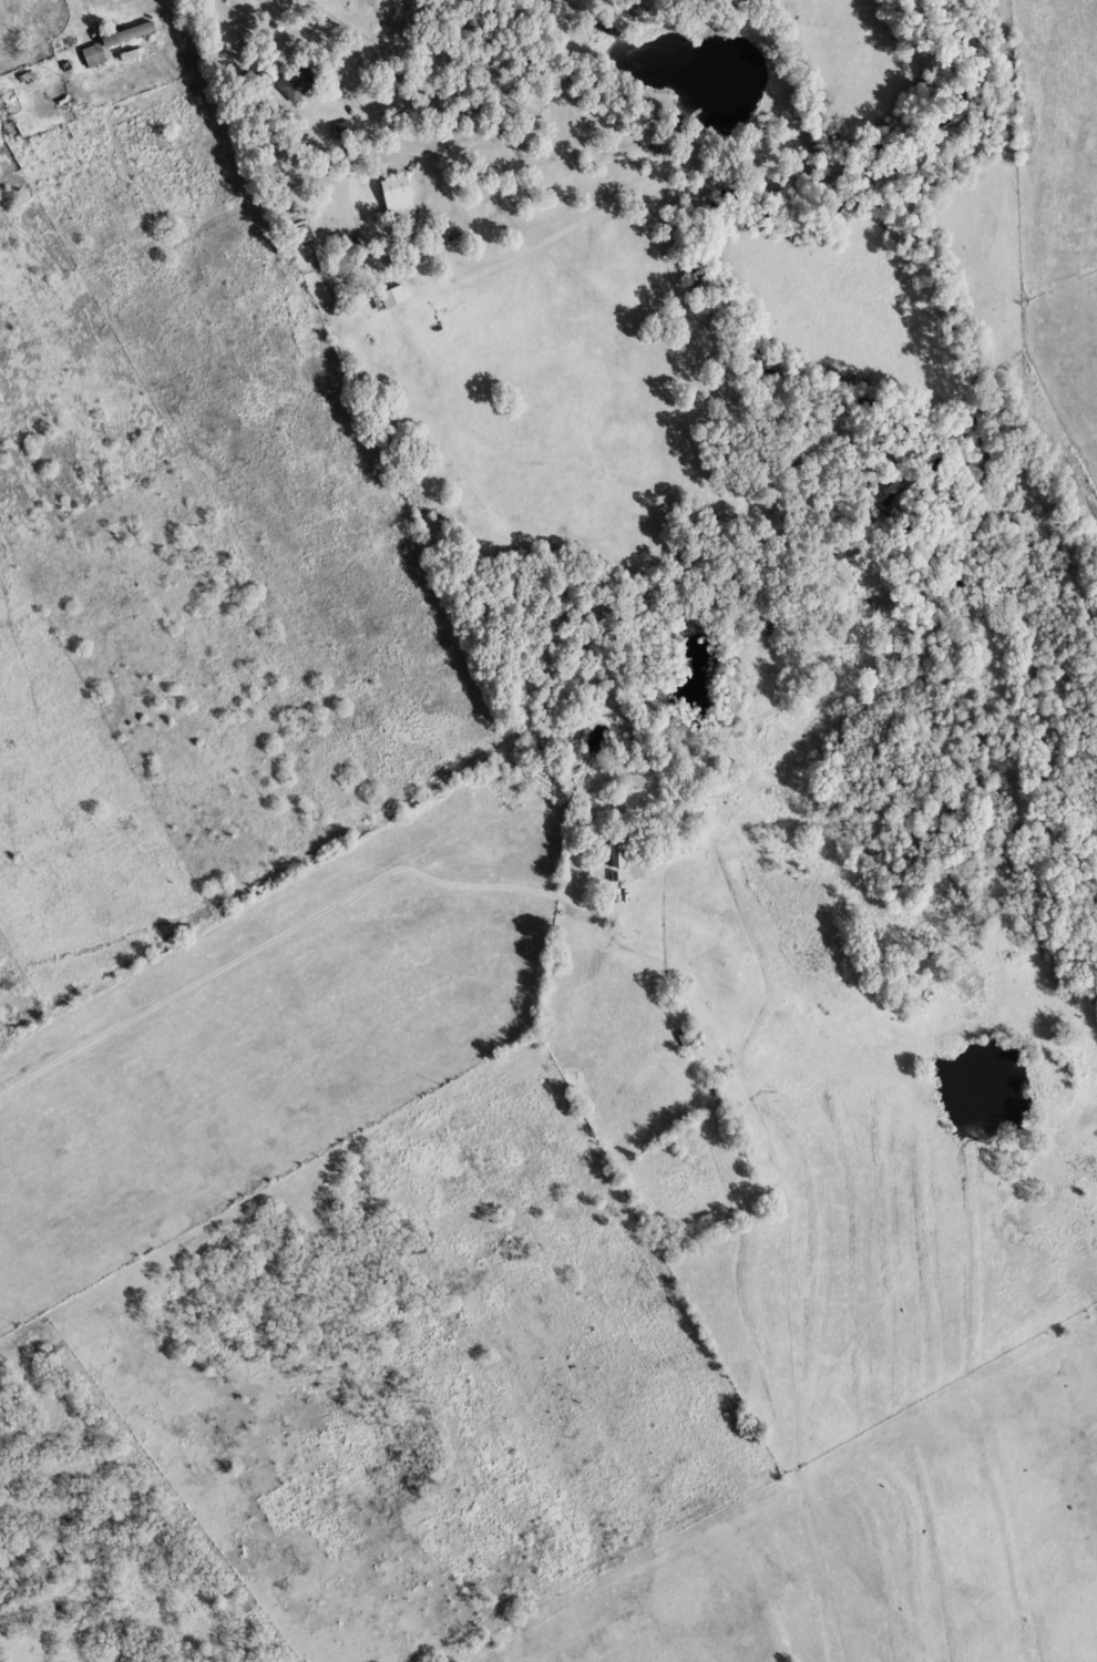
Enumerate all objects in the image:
road: (309, 6)
building: (126, 33)
building: (91, 54)
building: (133, 55)
road: (383, 66)
building: (295, 83)
building: (344, 130)
building: (394, 197)
building: (619, 853)
road: (398, 864)
building: (687, 1038)

